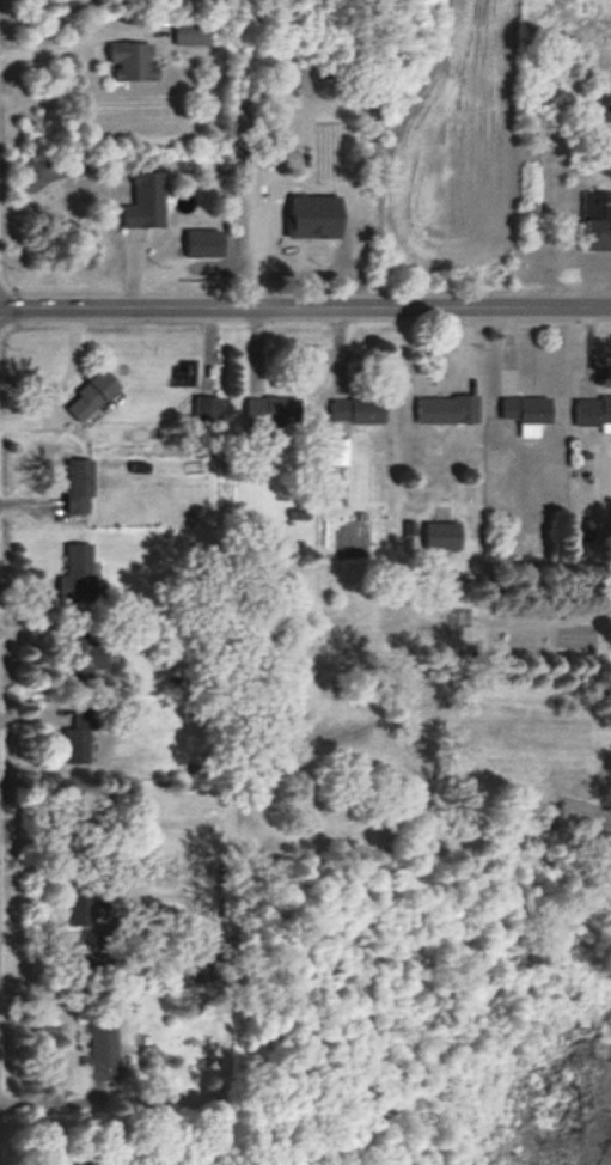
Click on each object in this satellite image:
building: (190, 35)
building: (132, 65)
building: (606, 116)
building: (145, 203)
building: (595, 224)
road: (305, 304)
building: (91, 398)
building: (356, 411)
building: (446, 411)
building: (592, 414)
building: (525, 415)
building: (270, 417)
building: (336, 453)
building: (78, 488)
building: (441, 536)
building: (78, 577)
building: (81, 648)
building: (78, 739)
building: (79, 907)
building: (209, 962)
building: (100, 1051)

